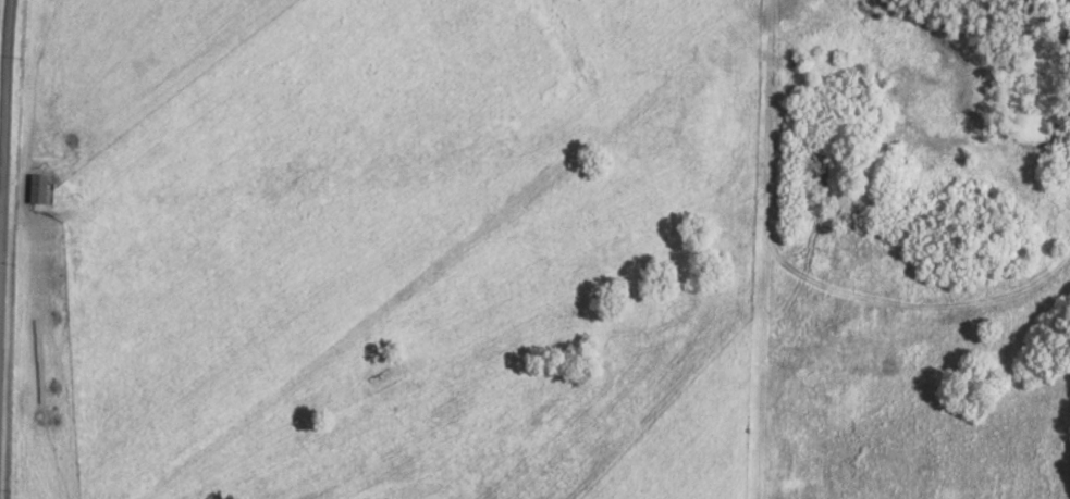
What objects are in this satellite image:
building: (33, 192)
road: (1, 196)
road: (3, 213)

